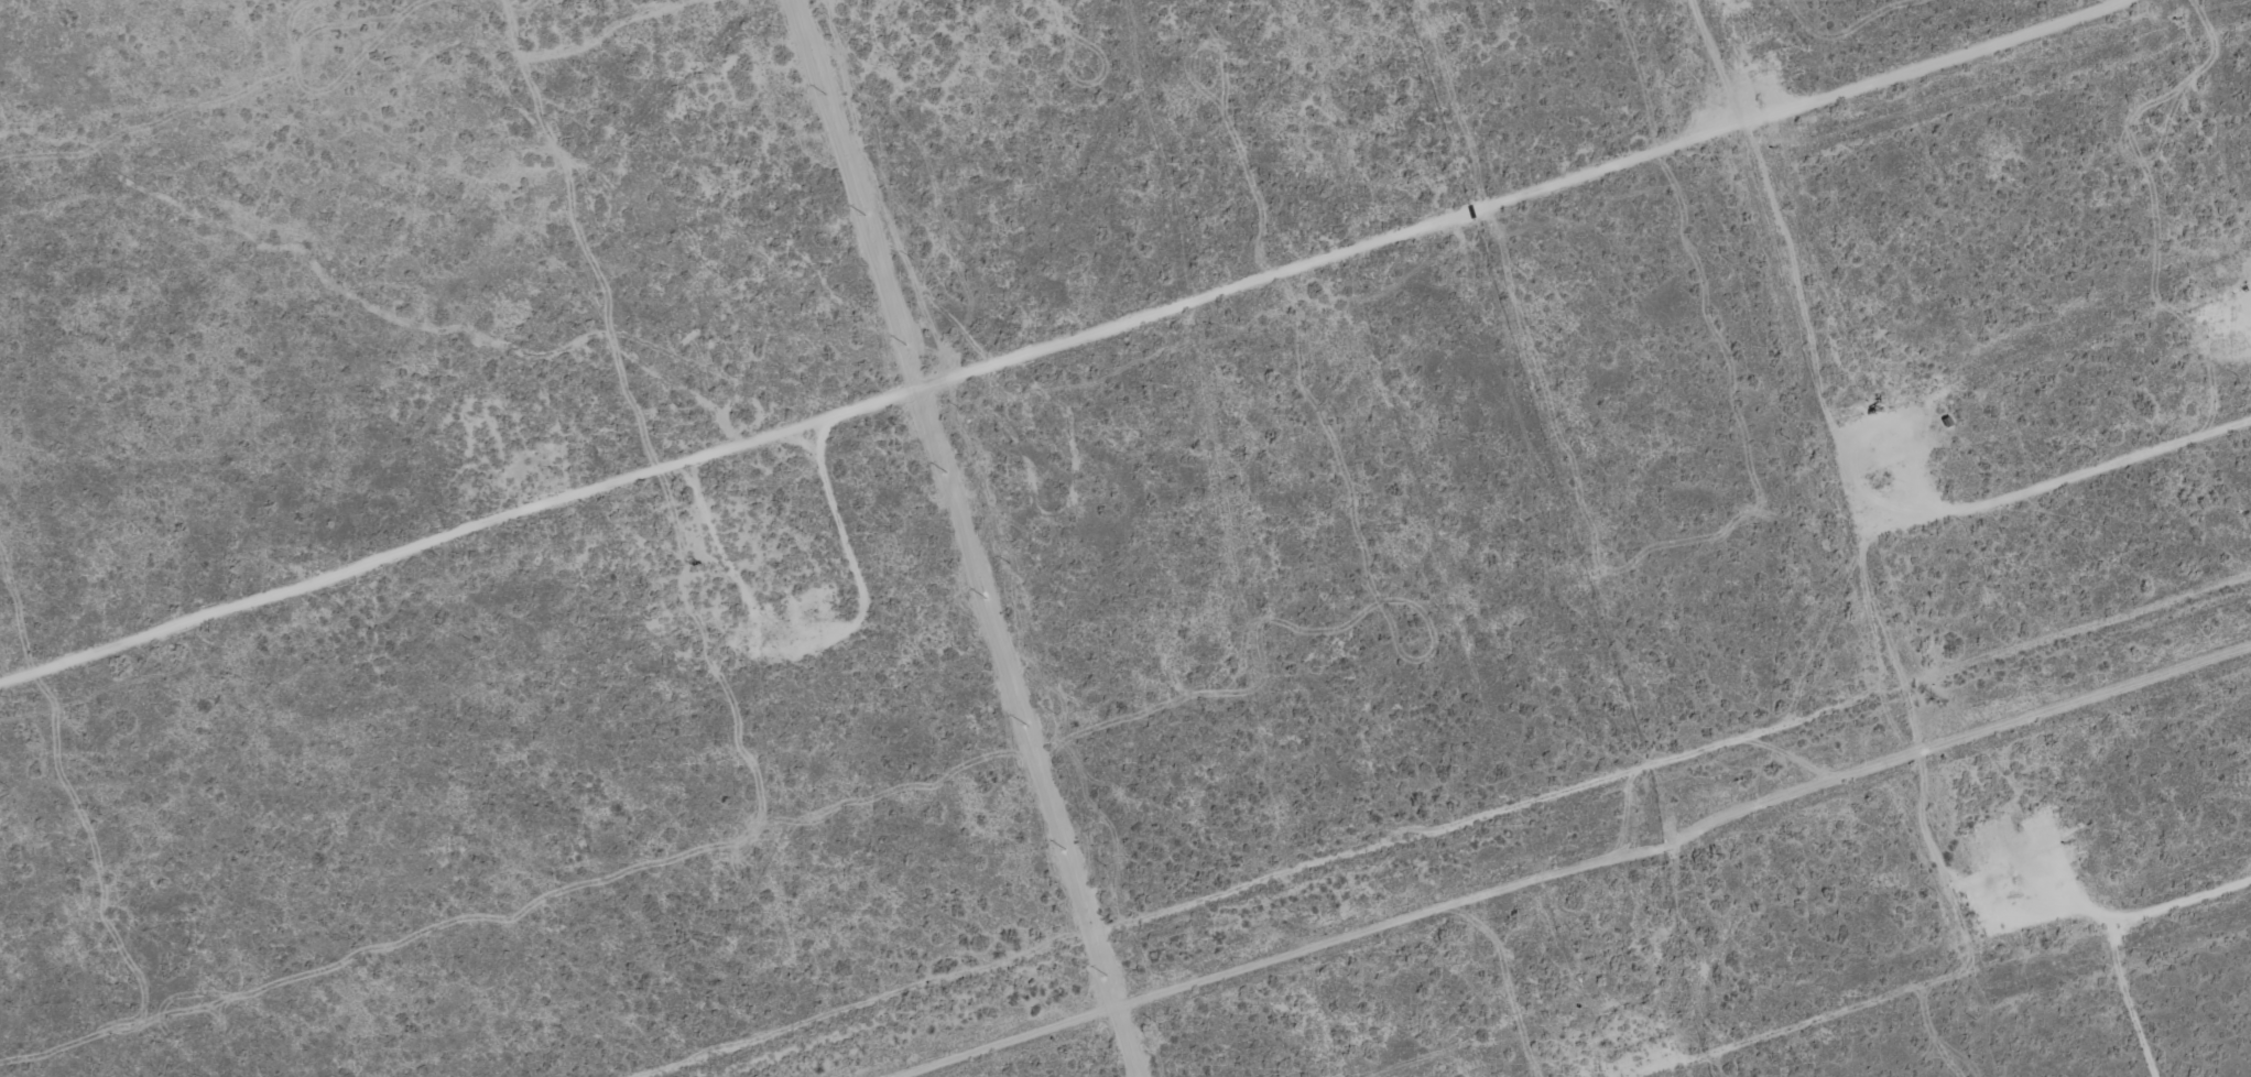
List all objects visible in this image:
road: (1074, 346)
road: (2060, 486)
road: (2188, 901)
road: (1273, 967)

